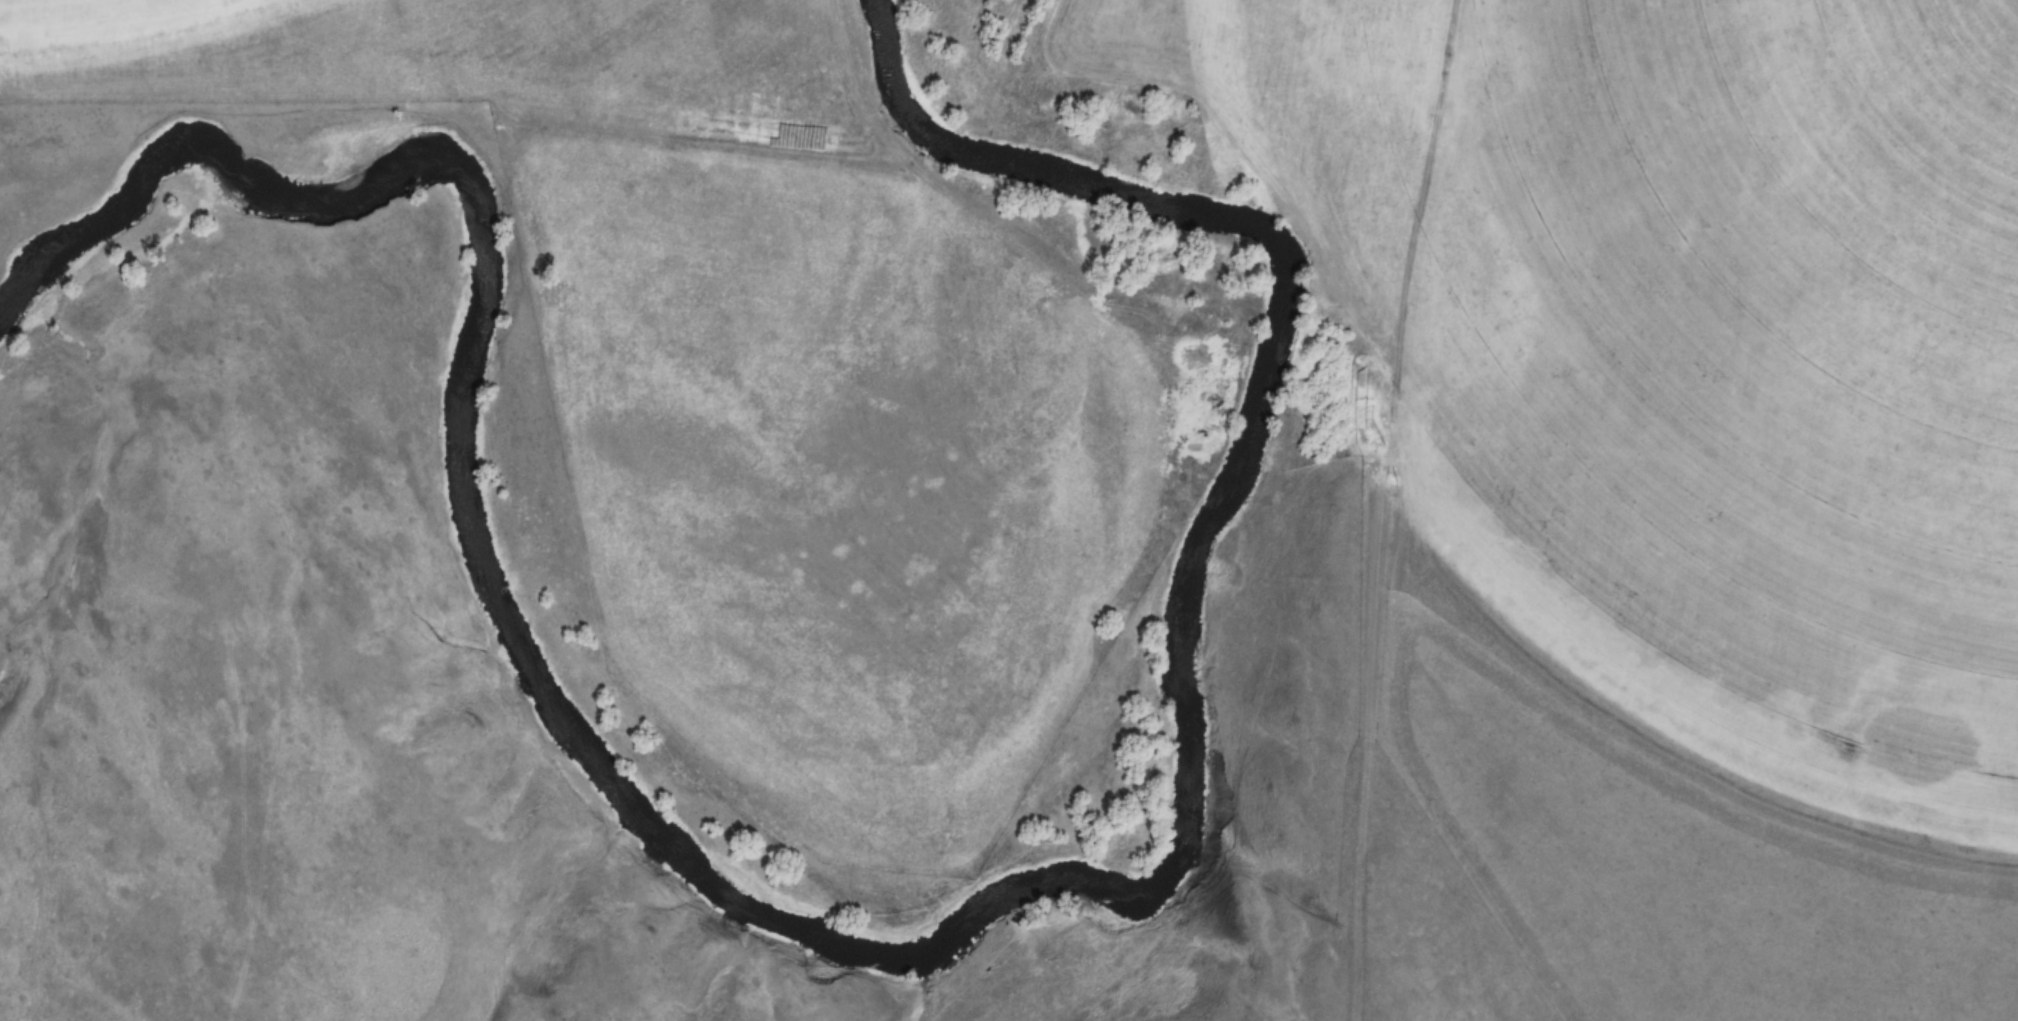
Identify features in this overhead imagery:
river: (860, 958)

